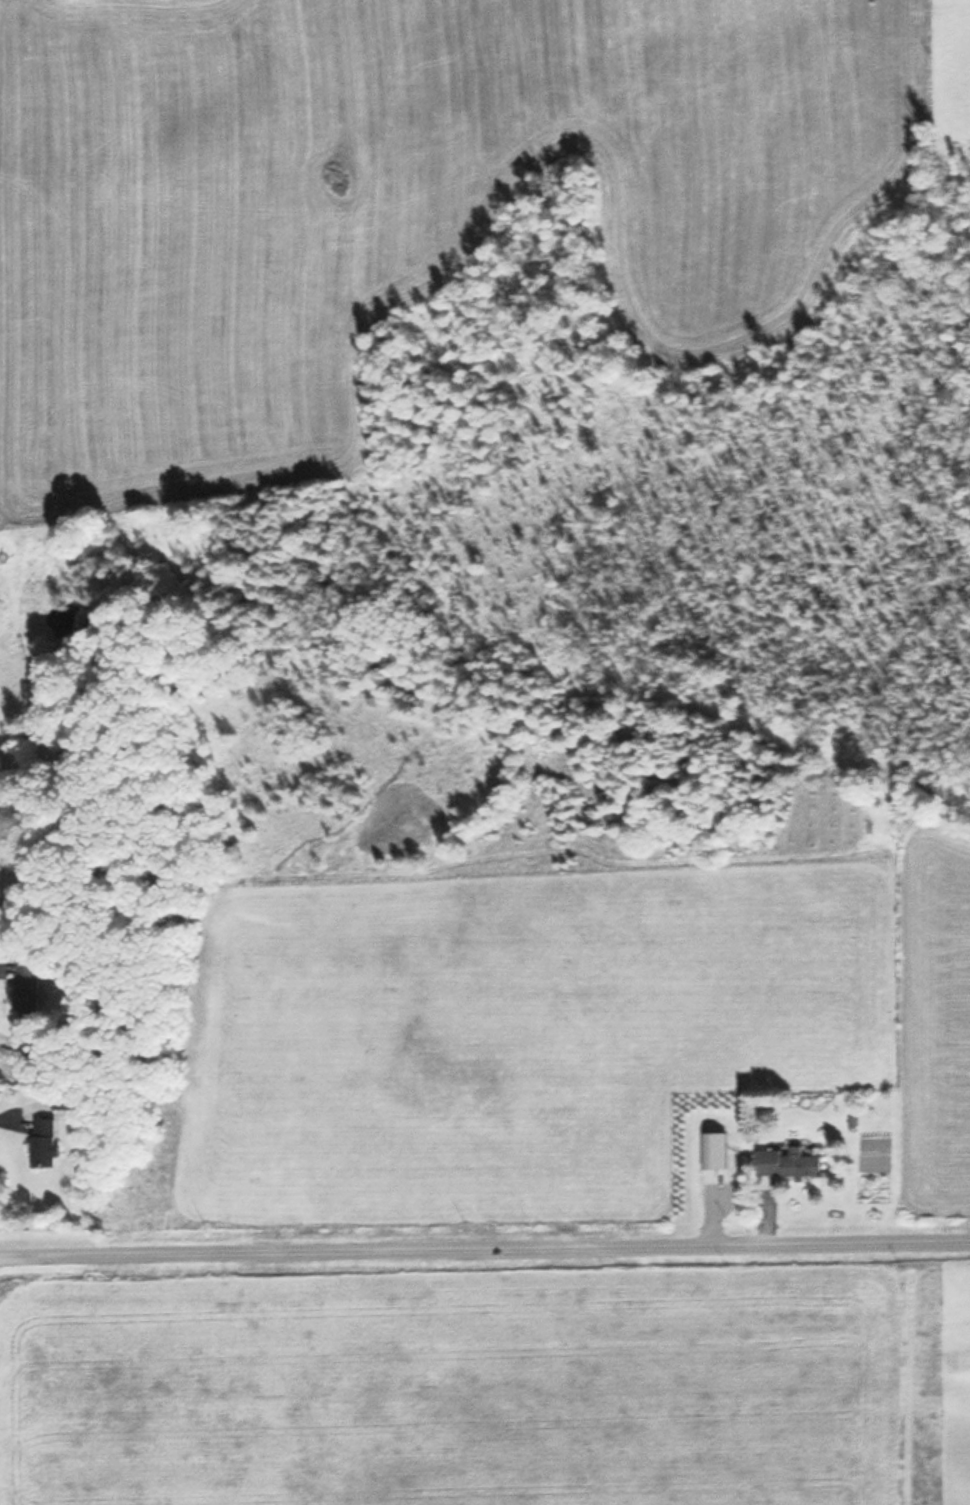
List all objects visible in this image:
building: (28, 990)
building: (43, 1143)
building: (787, 1163)
road: (485, 1246)

